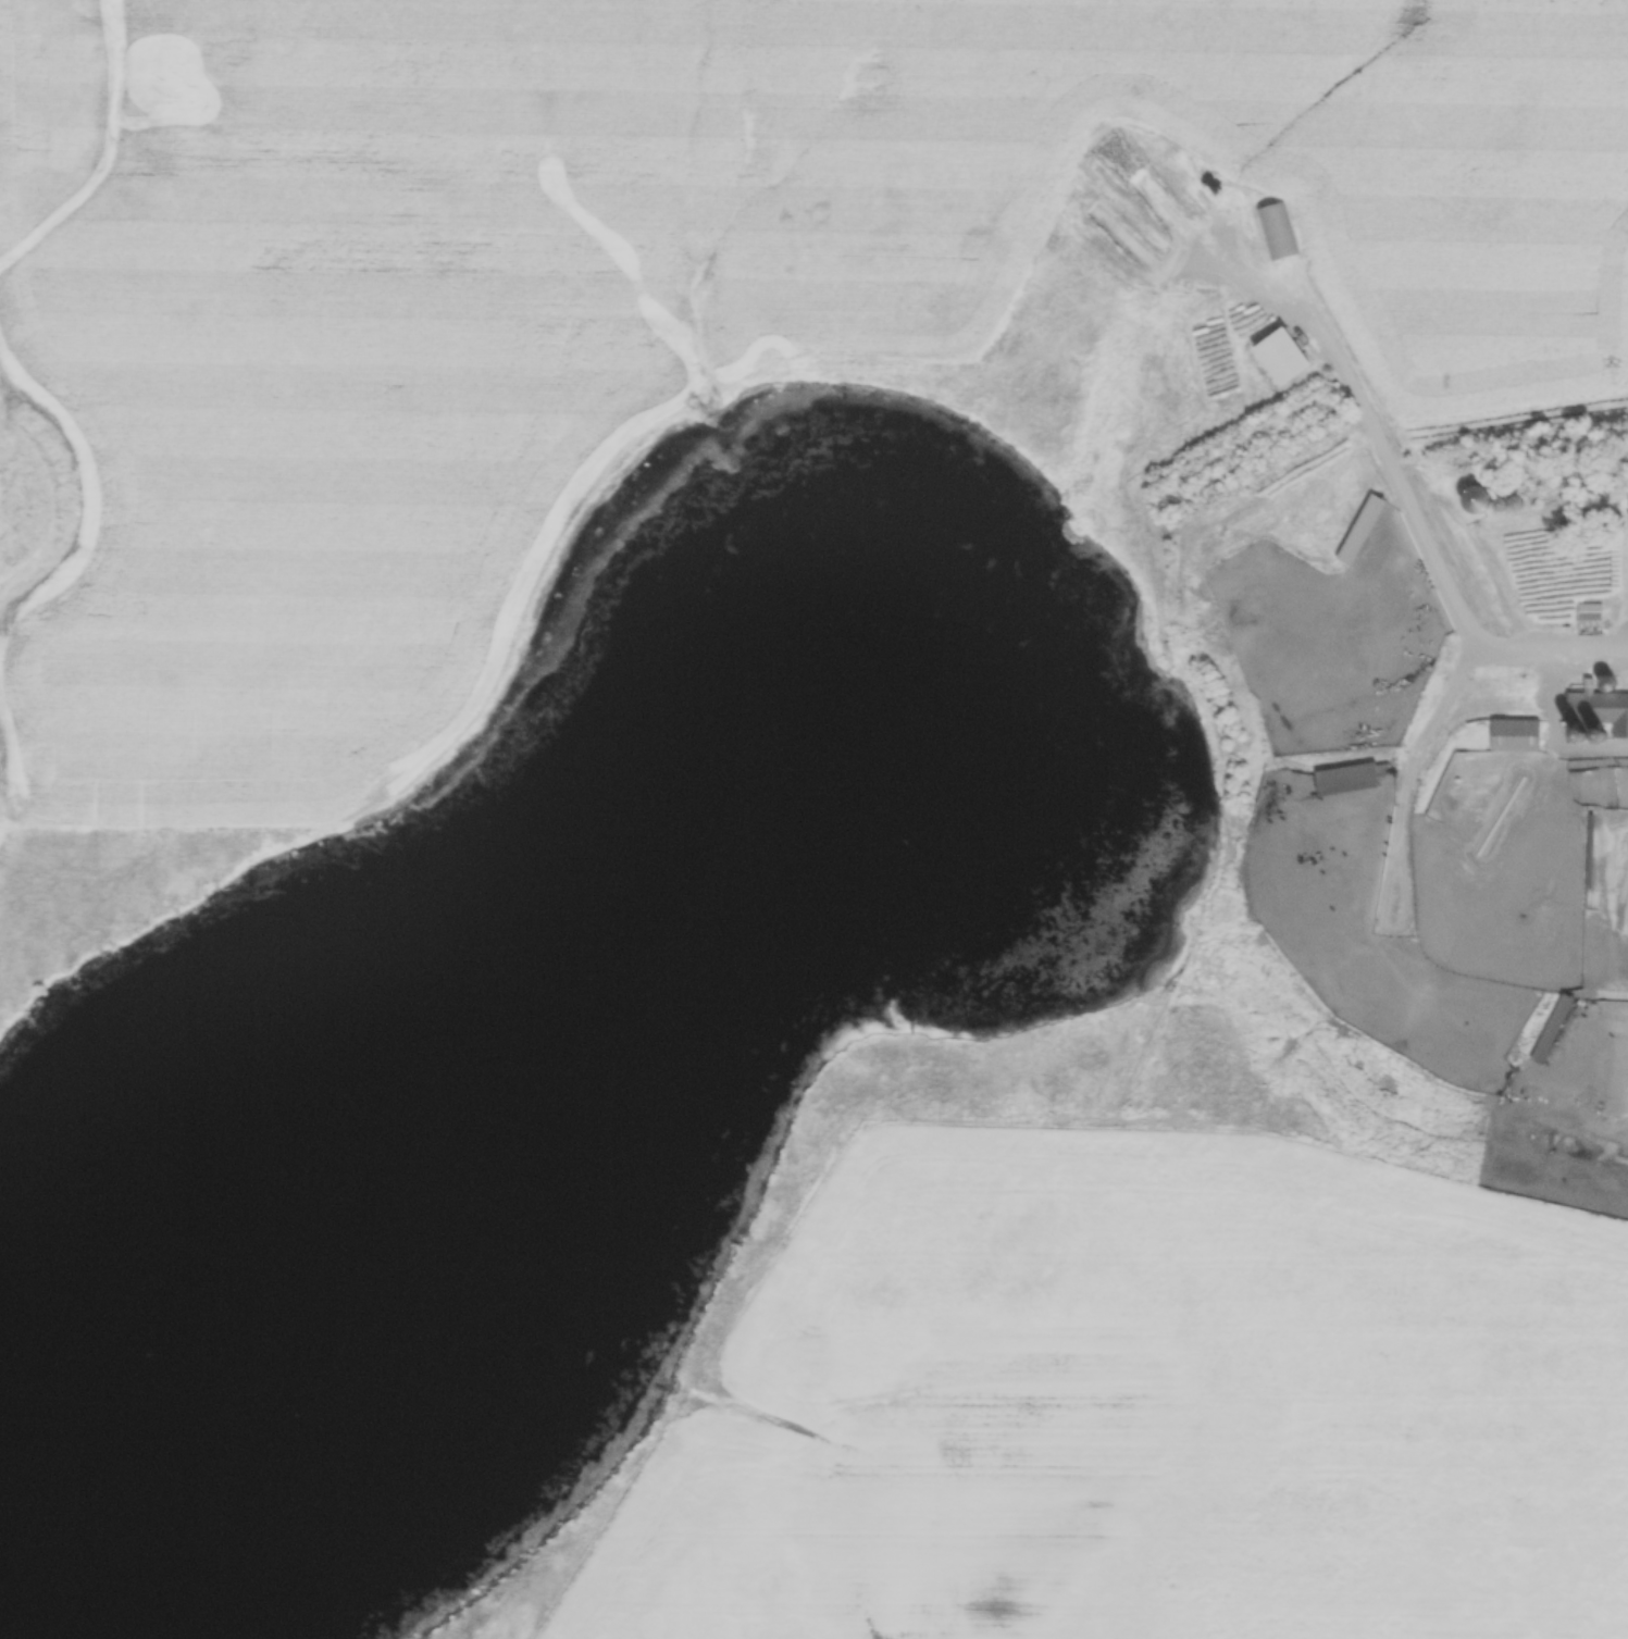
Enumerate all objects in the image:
building: (1277, 233)
building: (1590, 613)
road: (1553, 653)
building: (1600, 710)
building: (1517, 737)
building: (1554, 1029)

